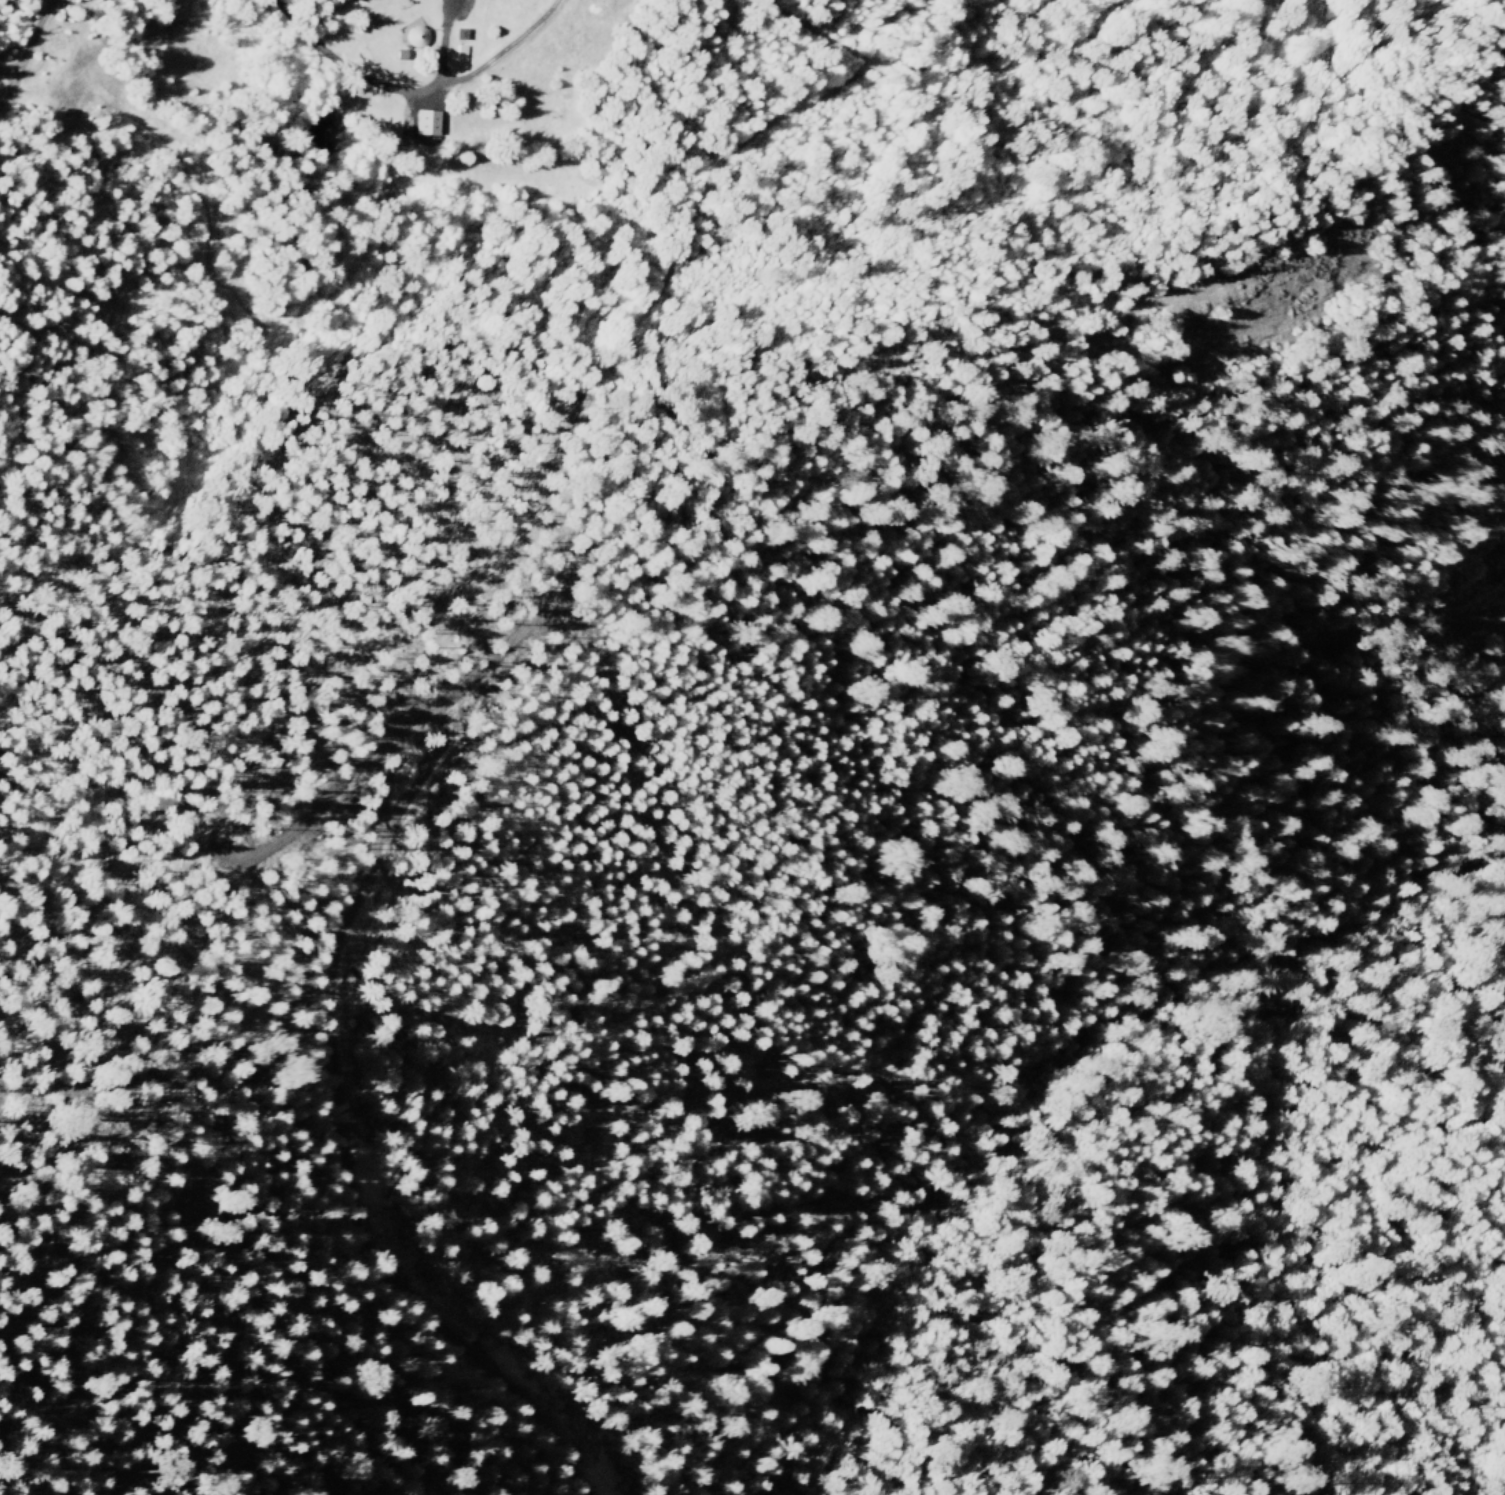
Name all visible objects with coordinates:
road: (818, 38)
road: (515, 45)
road: (24, 50)
road: (357, 76)
road: (676, 260)
road: (336, 1158)

